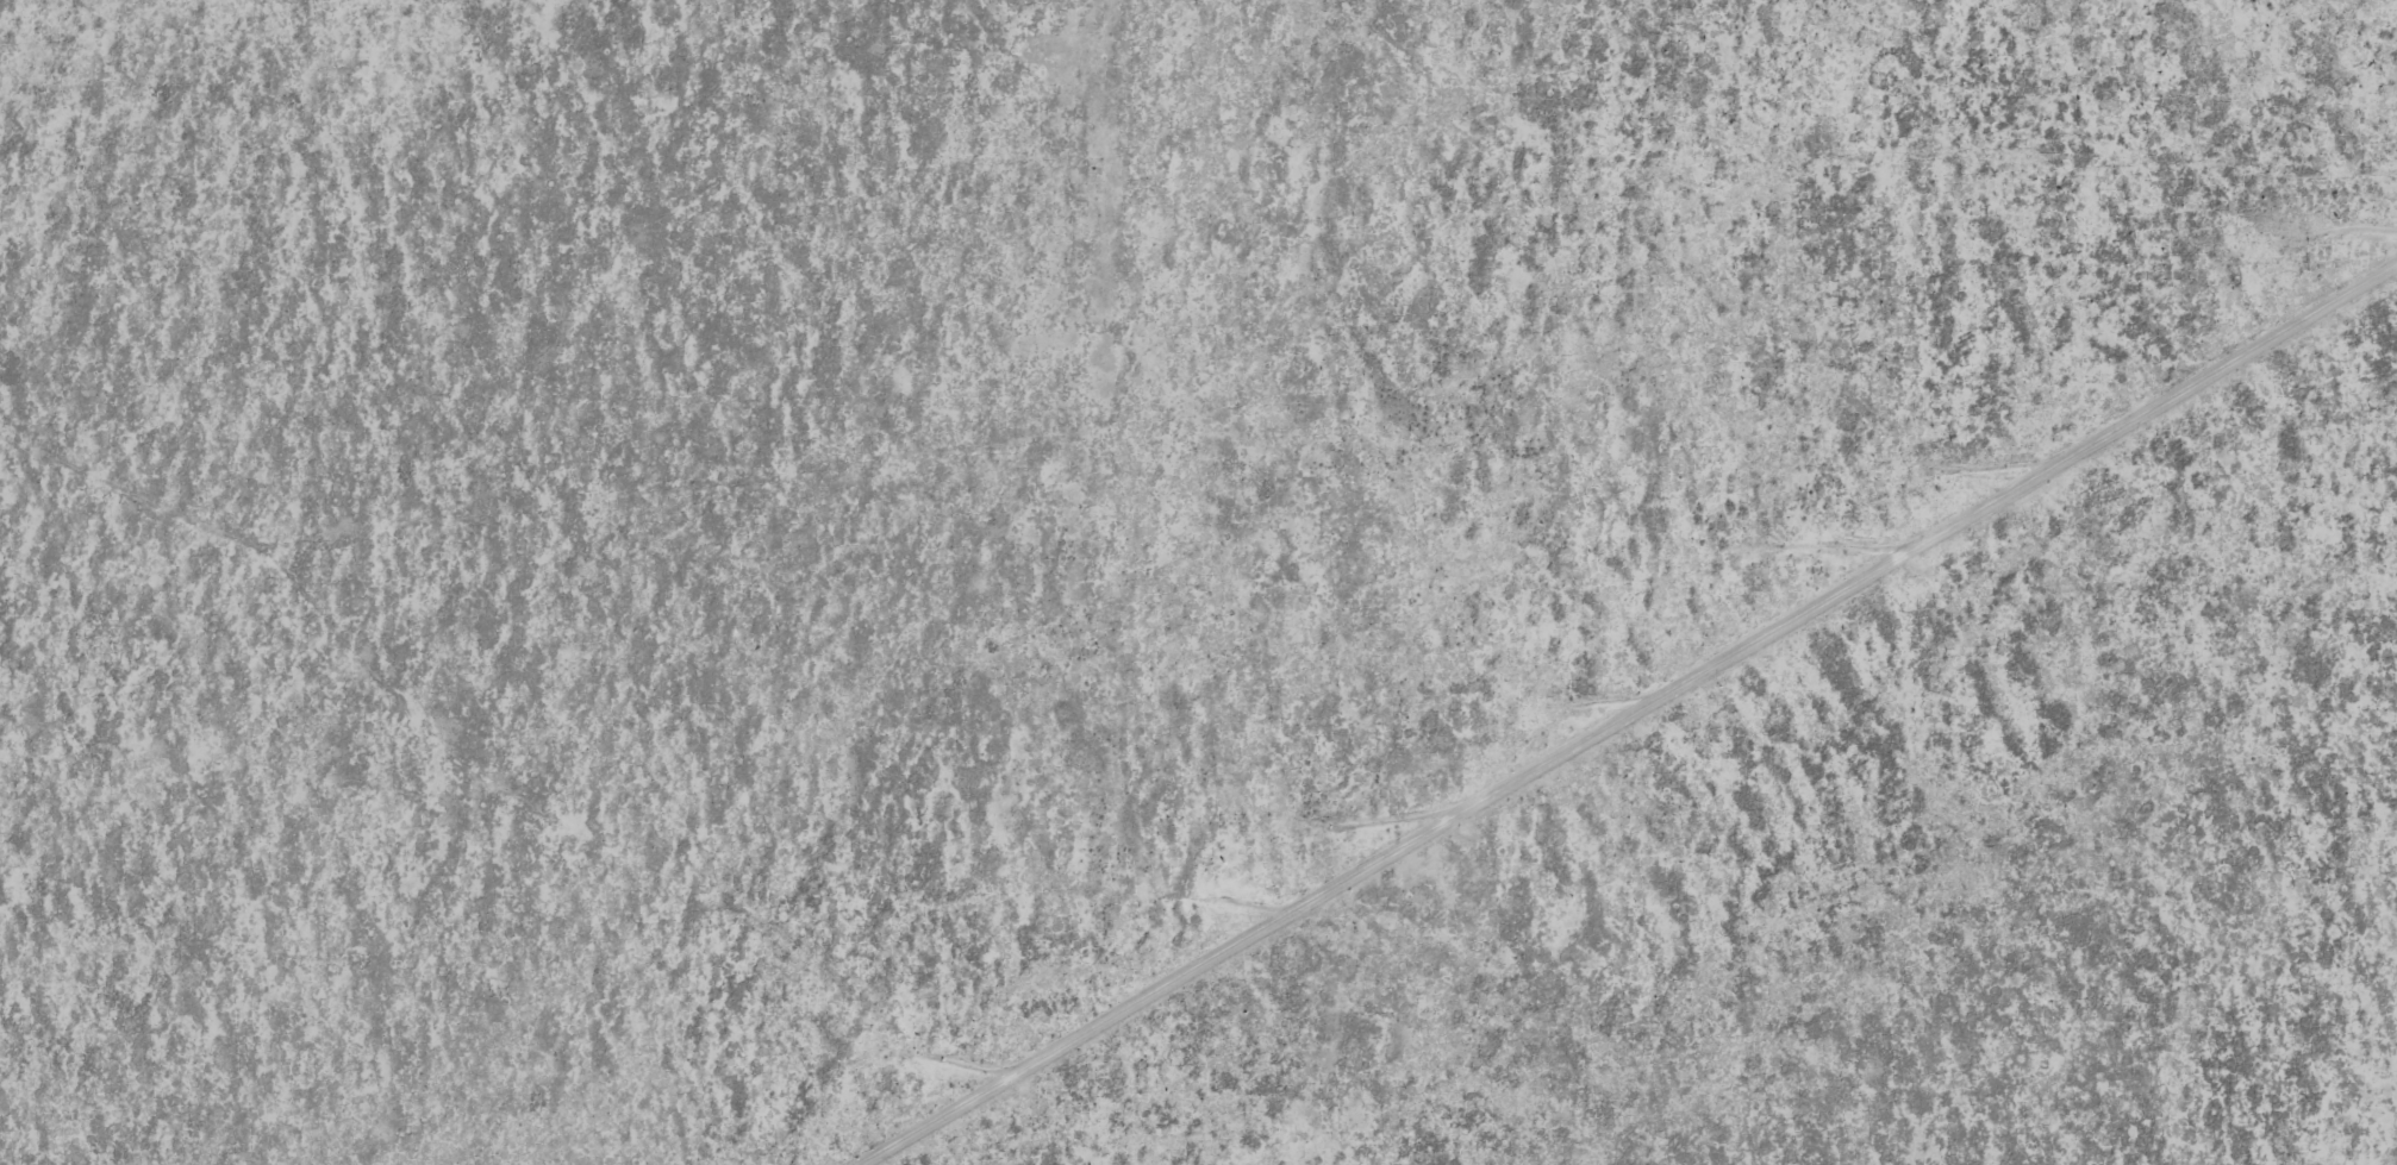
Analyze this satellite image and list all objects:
road: (1634, 718)

